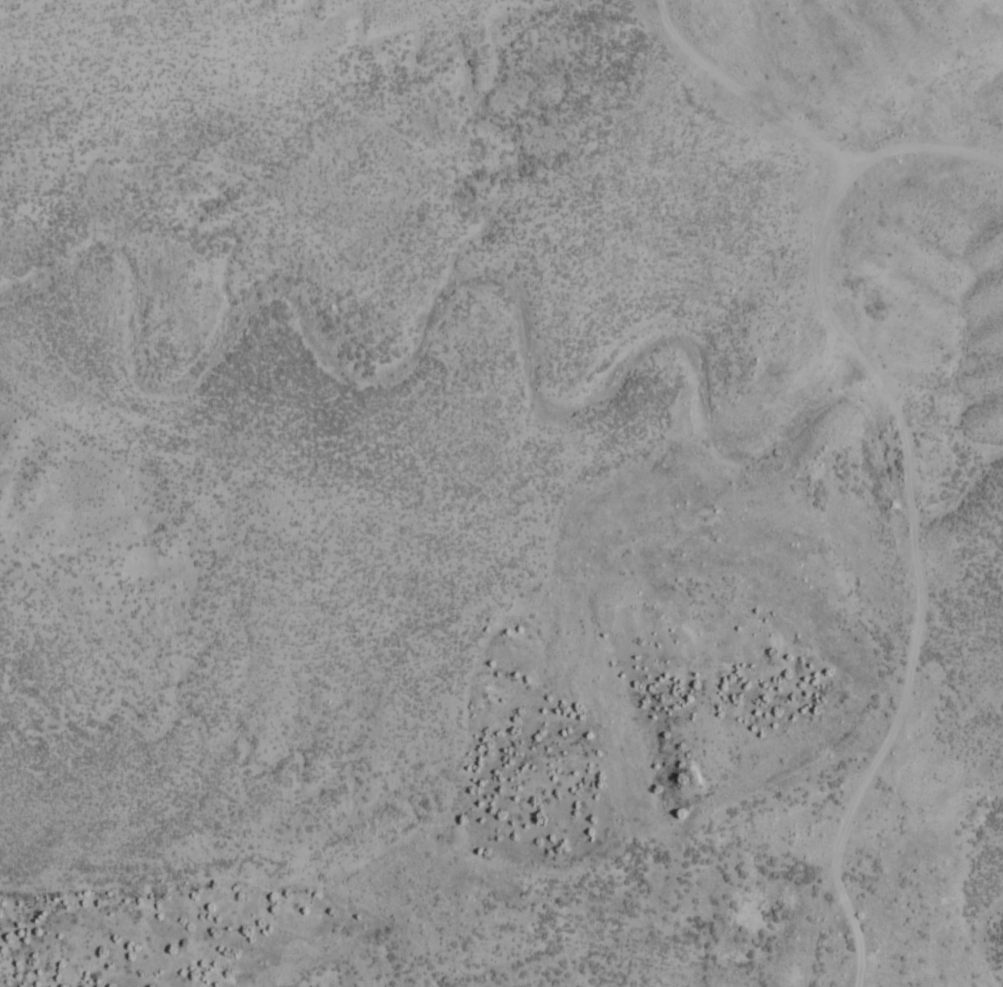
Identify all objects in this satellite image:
road: (461, 473)
road: (832, 966)

